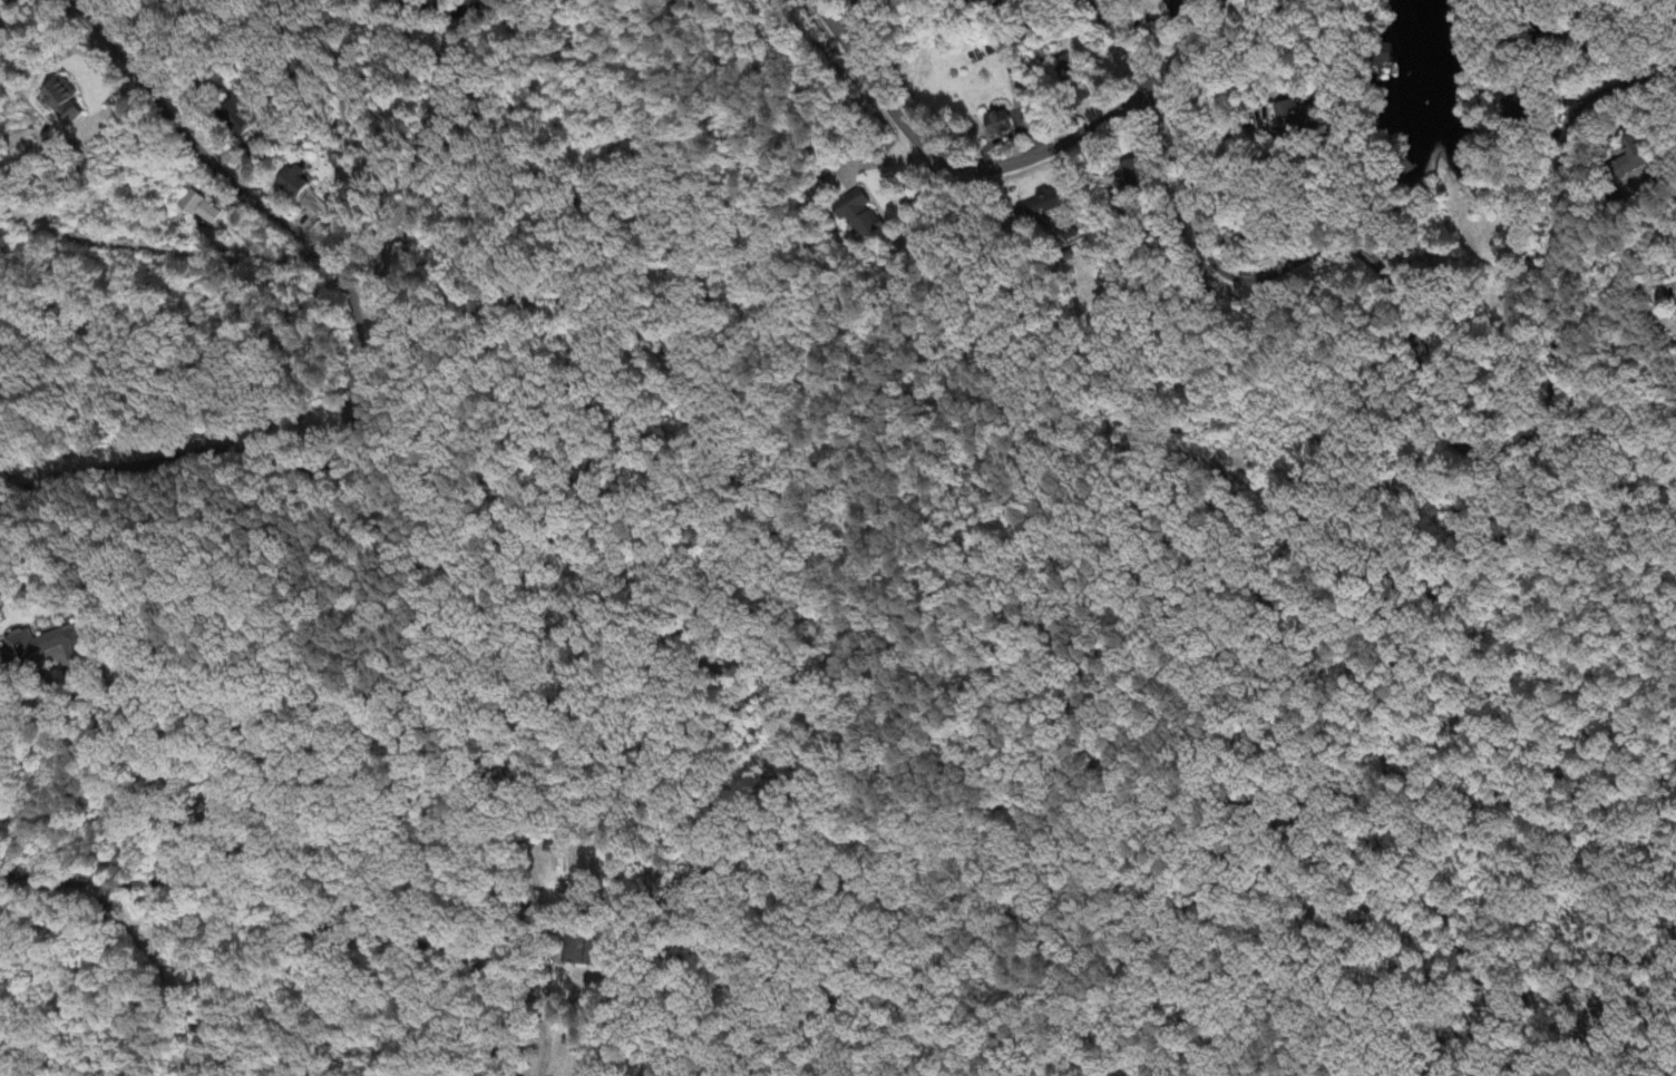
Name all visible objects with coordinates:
road: (2, 7)
road: (445, 10)
road: (1187, 45)
building: (1069, 70)
building: (68, 104)
building: (1511, 104)
building: (1293, 117)
road: (1630, 117)
building: (996, 126)
building: (1636, 157)
road: (955, 165)
building: (298, 185)
building: (1044, 204)
building: (193, 205)
building: (211, 214)
building: (859, 217)
building: (1064, 234)
road: (181, 248)
road: (363, 350)
road: (1429, 372)
road: (526, 391)
road: (1293, 537)
building: (46, 647)
road: (319, 700)
road: (295, 912)
road: (542, 931)
building: (577, 951)
road: (247, 995)
road: (542, 1029)

